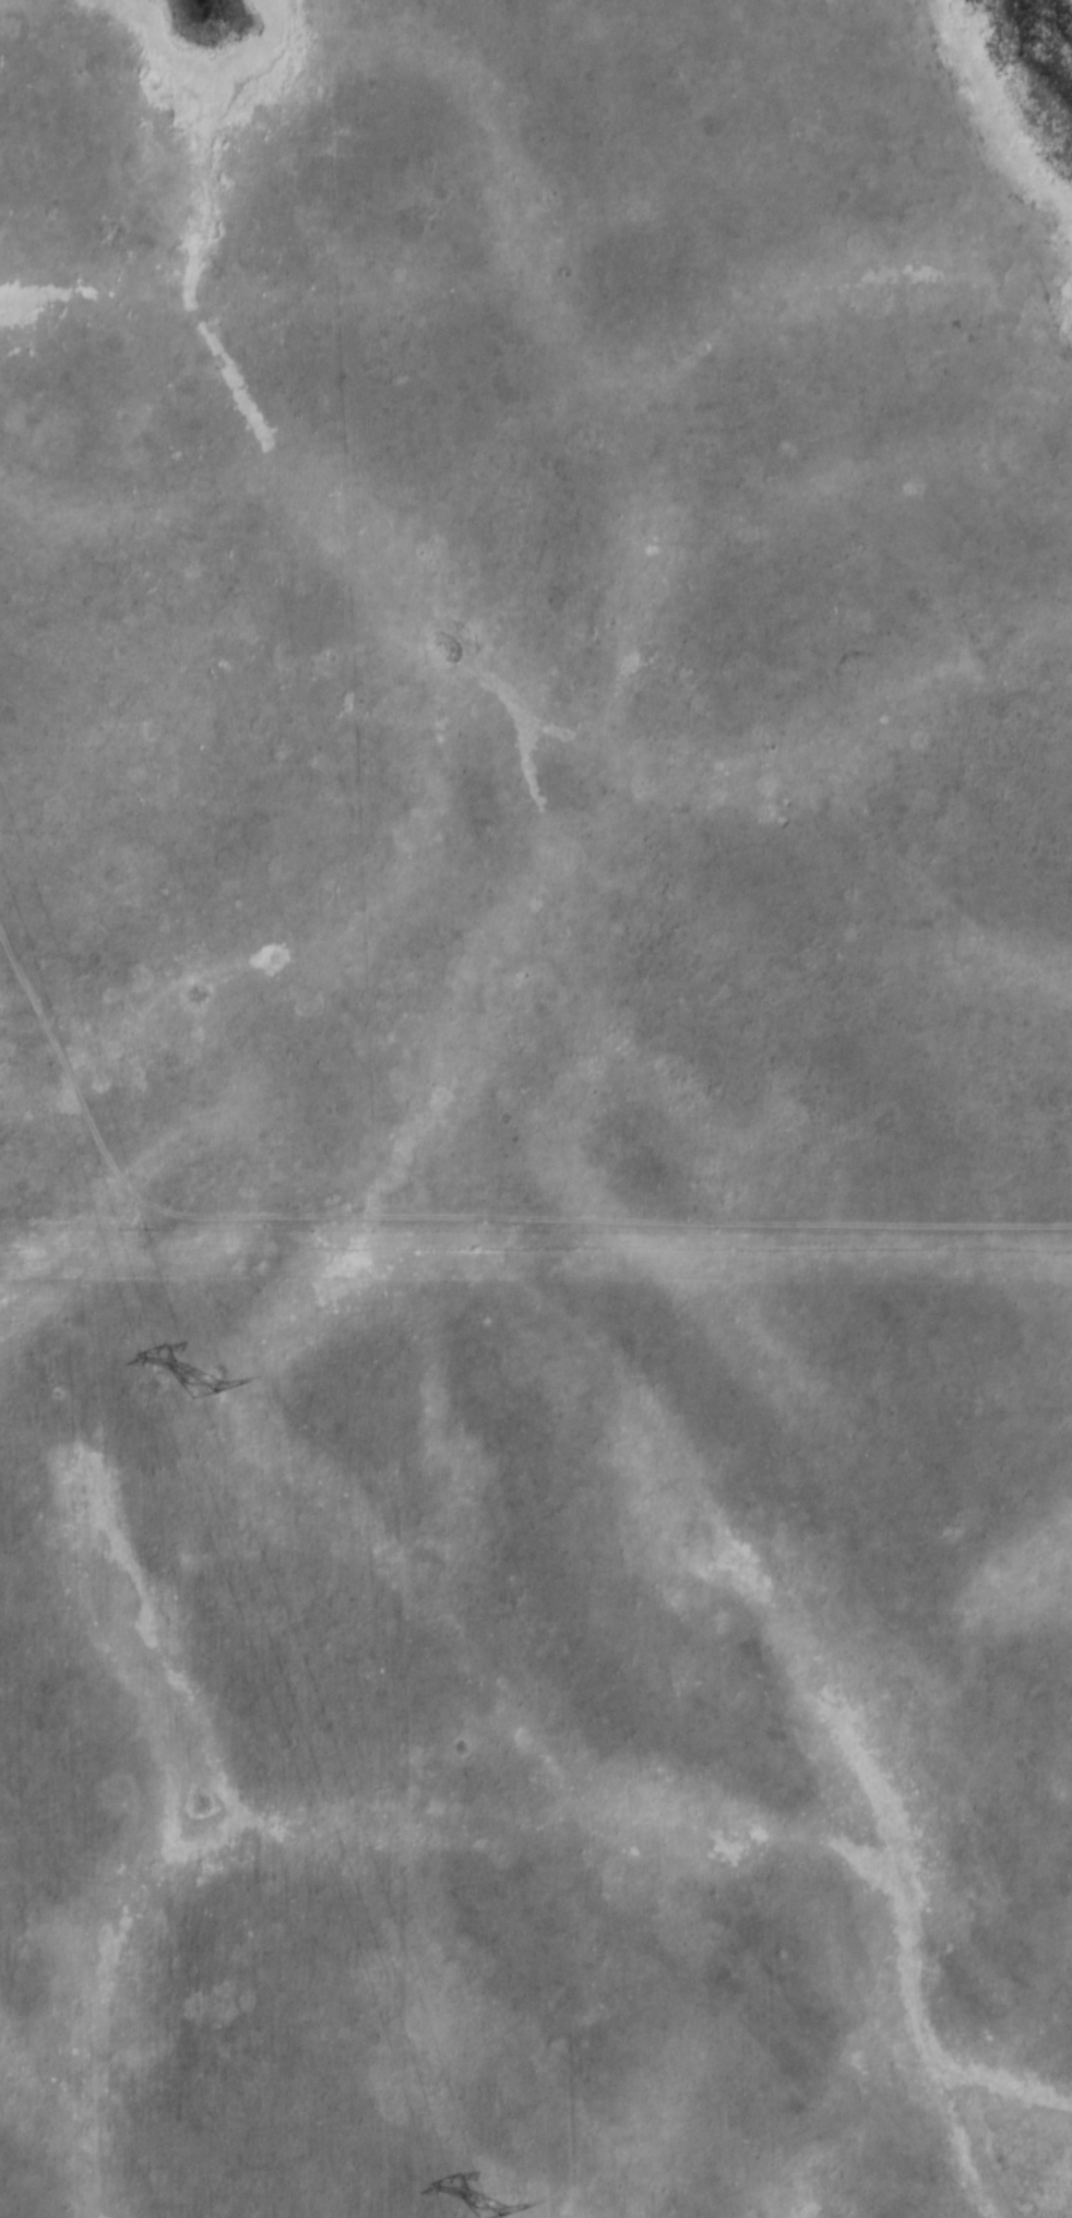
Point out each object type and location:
power tower: (202, 1387)
power tower: (489, 2211)

